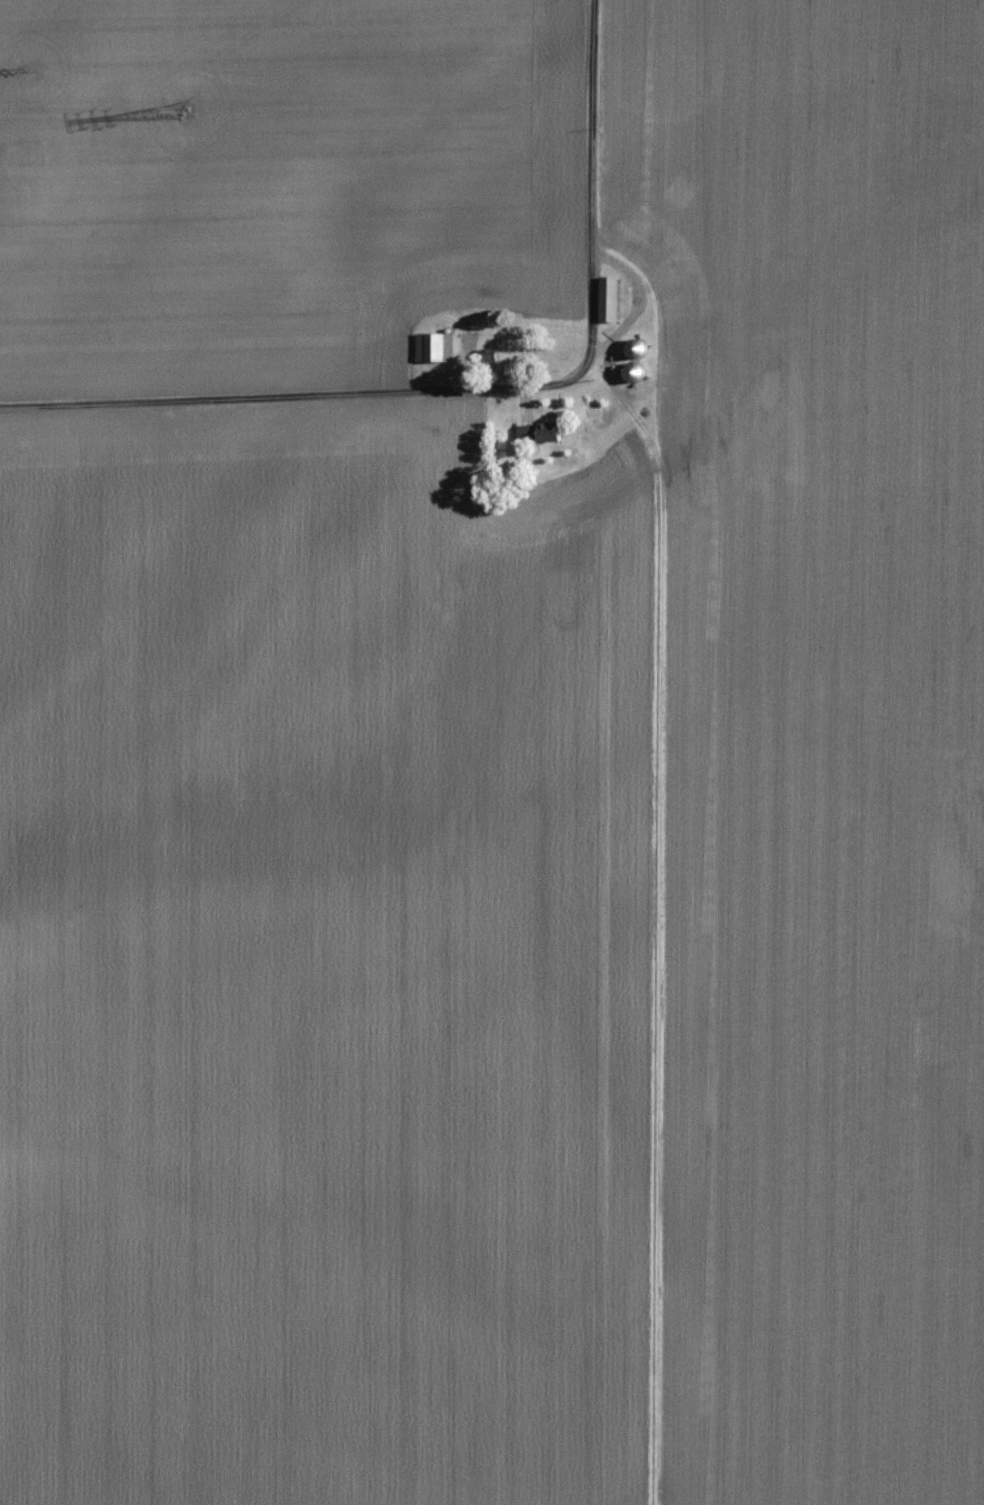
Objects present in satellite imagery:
power tower: (182, 112)
road: (479, 387)

